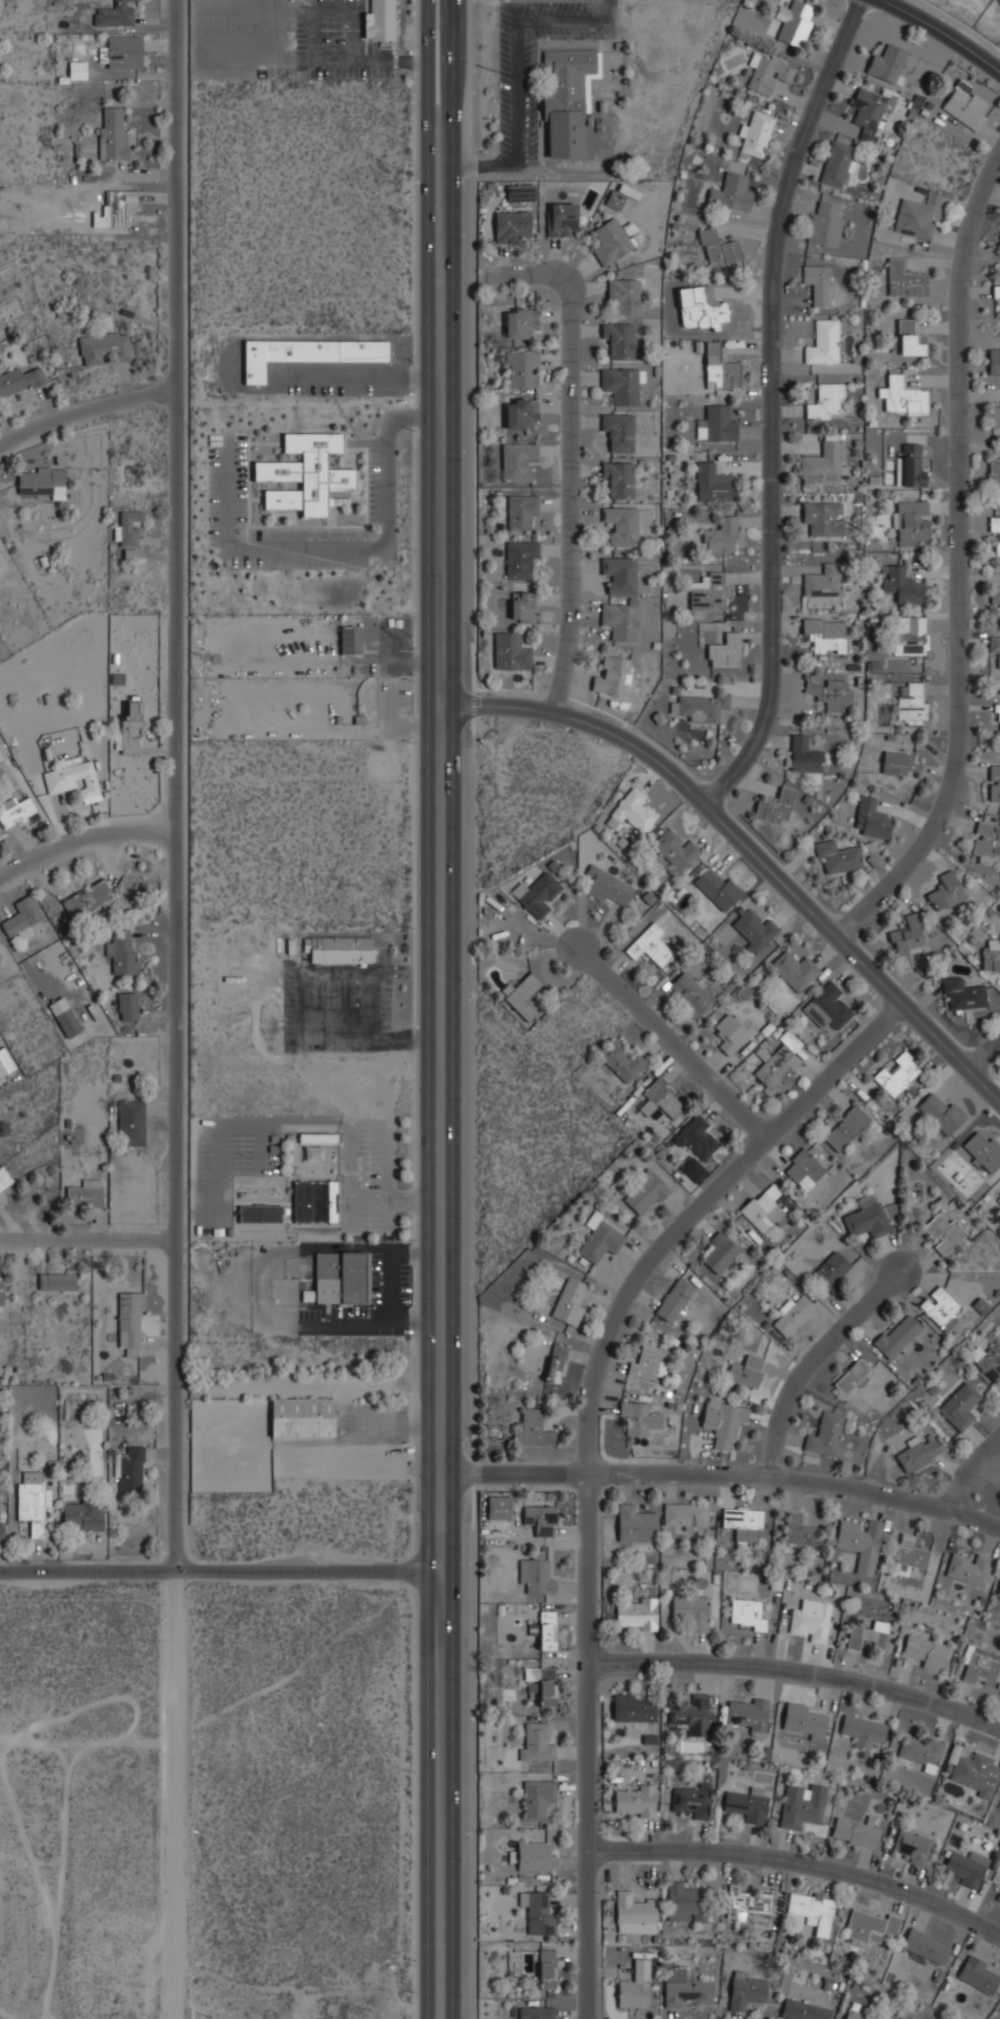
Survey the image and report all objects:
road: (473, 0)
road: (414, 7)
building: (116, 13)
building: (380, 20)
building: (793, 21)
road: (942, 33)
building: (123, 51)
building: (887, 62)
building: (767, 73)
building: (566, 97)
building: (964, 106)
building: (867, 110)
building: (755, 133)
building: (112, 135)
building: (836, 163)
building: (519, 192)
building: (731, 192)
building: (620, 196)
building: (115, 205)
building: (559, 218)
building: (914, 218)
building: (824, 223)
building: (510, 225)
building: (609, 241)
building: (718, 248)
building: (904, 279)
building: (818, 283)
building: (996, 290)
building: (623, 294)
building: (700, 307)
building: (520, 322)
building: (618, 338)
building: (909, 339)
building: (822, 343)
building: (104, 348)
building: (305, 353)
building: (993, 361)
building: (719, 368)
building: (521, 369)
building: (19, 381)
building: (621, 384)
building: (902, 395)
building: (827, 400)
road: (771, 405)
road: (85, 409)
building: (519, 411)
building: (995, 414)
building: (717, 424)
building: (618, 430)
building: (517, 460)
building: (821, 464)
building: (910, 465)
road: (570, 467)
building: (305, 473)
building: (994, 474)
building: (619, 477)
building: (41, 481)
building: (712, 482)
building: (520, 510)
building: (822, 517)
building: (911, 521)
building: (621, 524)
building: (128, 527)
building: (995, 529)
building: (720, 535)
building: (519, 557)
road: (960, 566)
building: (619, 573)
building: (823, 581)
building: (900, 584)
building: (709, 591)
building: (994, 597)
building: (523, 608)
building: (618, 619)
building: (824, 634)
building: (908, 634)
building: (350, 639)
building: (994, 647)
building: (510, 650)
building: (724, 650)
building: (835, 664)
building: (612, 676)
building: (829, 693)
building: (911, 703)
building: (700, 707)
building: (997, 719)
building: (129, 726)
building: (804, 754)
building: (899, 764)
building: (74, 779)
building: (994, 783)
road: (177, 786)
building: (774, 807)
building: (16, 810)
building: (632, 811)
building: (871, 818)
road: (83, 835)
building: (986, 839)
road: (744, 844)
building: (675, 850)
building: (836, 856)
building: (608, 887)
building: (716, 889)
building: (945, 891)
building: (535, 894)
building: (87, 899)
building: (20, 917)
building: (751, 929)
building: (907, 938)
building: (650, 945)
building: (339, 949)
building: (122, 951)
building: (990, 955)
building: (793, 970)
building: (689, 993)
building: (962, 994)
building: (522, 995)
building: (127, 1006)
building: (826, 1006)
road: (429, 1009)
road: (454, 1009)
building: (67, 1022)
building: (731, 1032)
road: (671, 1042)
road: (984, 1052)
building: (620, 1060)
building: (5, 1062)
building: (776, 1068)
building: (896, 1073)
building: (664, 1098)
building: (941, 1113)
building: (131, 1122)
building: (845, 1127)
building: (696, 1137)
building: (983, 1150)
building: (803, 1169)
building: (693, 1170)
building: (4, 1178)
building: (84, 1192)
building: (644, 1193)
building: (998, 1198)
building: (314, 1201)
building: (763, 1208)
building: (259, 1213)
building: (866, 1220)
building: (941, 1232)
road: (88, 1239)
building: (600, 1241)
building: (720, 1252)
building: (831, 1269)
building: (338, 1278)
building: (56, 1281)
building: (1, 1292)
building: (674, 1299)
building: (568, 1302)
building: (939, 1306)
building: (980, 1306)
building: (792, 1314)
building: (129, 1322)
building: (897, 1336)
building: (988, 1359)
road: (813, 1362)
building: (648, 1363)
building: (555, 1364)
building: (746, 1371)
building: (852, 1377)
building: (959, 1406)
building: (302, 1417)
building: (638, 1417)
building: (723, 1422)
building: (533, 1430)
building: (824, 1434)
road: (589, 1452)
building: (916, 1452)
road: (971, 1469)
building: (130, 1470)
road: (718, 1477)
building: (31, 1501)
building: (498, 1507)
building: (84, 1514)
building: (684, 1515)
building: (539, 1519)
building: (742, 1523)
building: (635, 1524)
building: (0, 1529)
building: (798, 1531)
building: (859, 1542)
building: (909, 1553)
building: (968, 1568)
road: (227, 1572)
building: (536, 1574)
building: (998, 1589)
building: (691, 1610)
building: (636, 1613)
building: (748, 1614)
building: (811, 1620)
building: (547, 1630)
building: (868, 1637)
building: (925, 1651)
building: (980, 1666)
road: (798, 1672)
building: (541, 1684)
building: (631, 1709)
building: (692, 1713)
building: (748, 1714)
building: (803, 1719)
building: (863, 1730)
building: (536, 1743)
building: (920, 1752)
building: (974, 1769)
road: (176, 1796)
building: (536, 1798)
building: (693, 1799)
building: (635, 1800)
building: (748, 1804)
building: (801, 1805)
building: (857, 1831)
building: (911, 1845)
building: (533, 1857)
road: (801, 1862)
building: (964, 1868)
building: (998, 1897)
building: (746, 1901)
building: (684, 1902)
building: (809, 1905)
building: (634, 1913)
building: (538, 1914)
building: (868, 1925)
building: (926, 1946)
building: (546, 1969)
building: (978, 1974)
building: (633, 1985)
building: (684, 1988)
building: (745, 1991)
building: (801, 2010)
building: (535, 2012)
building: (852, 2016)

